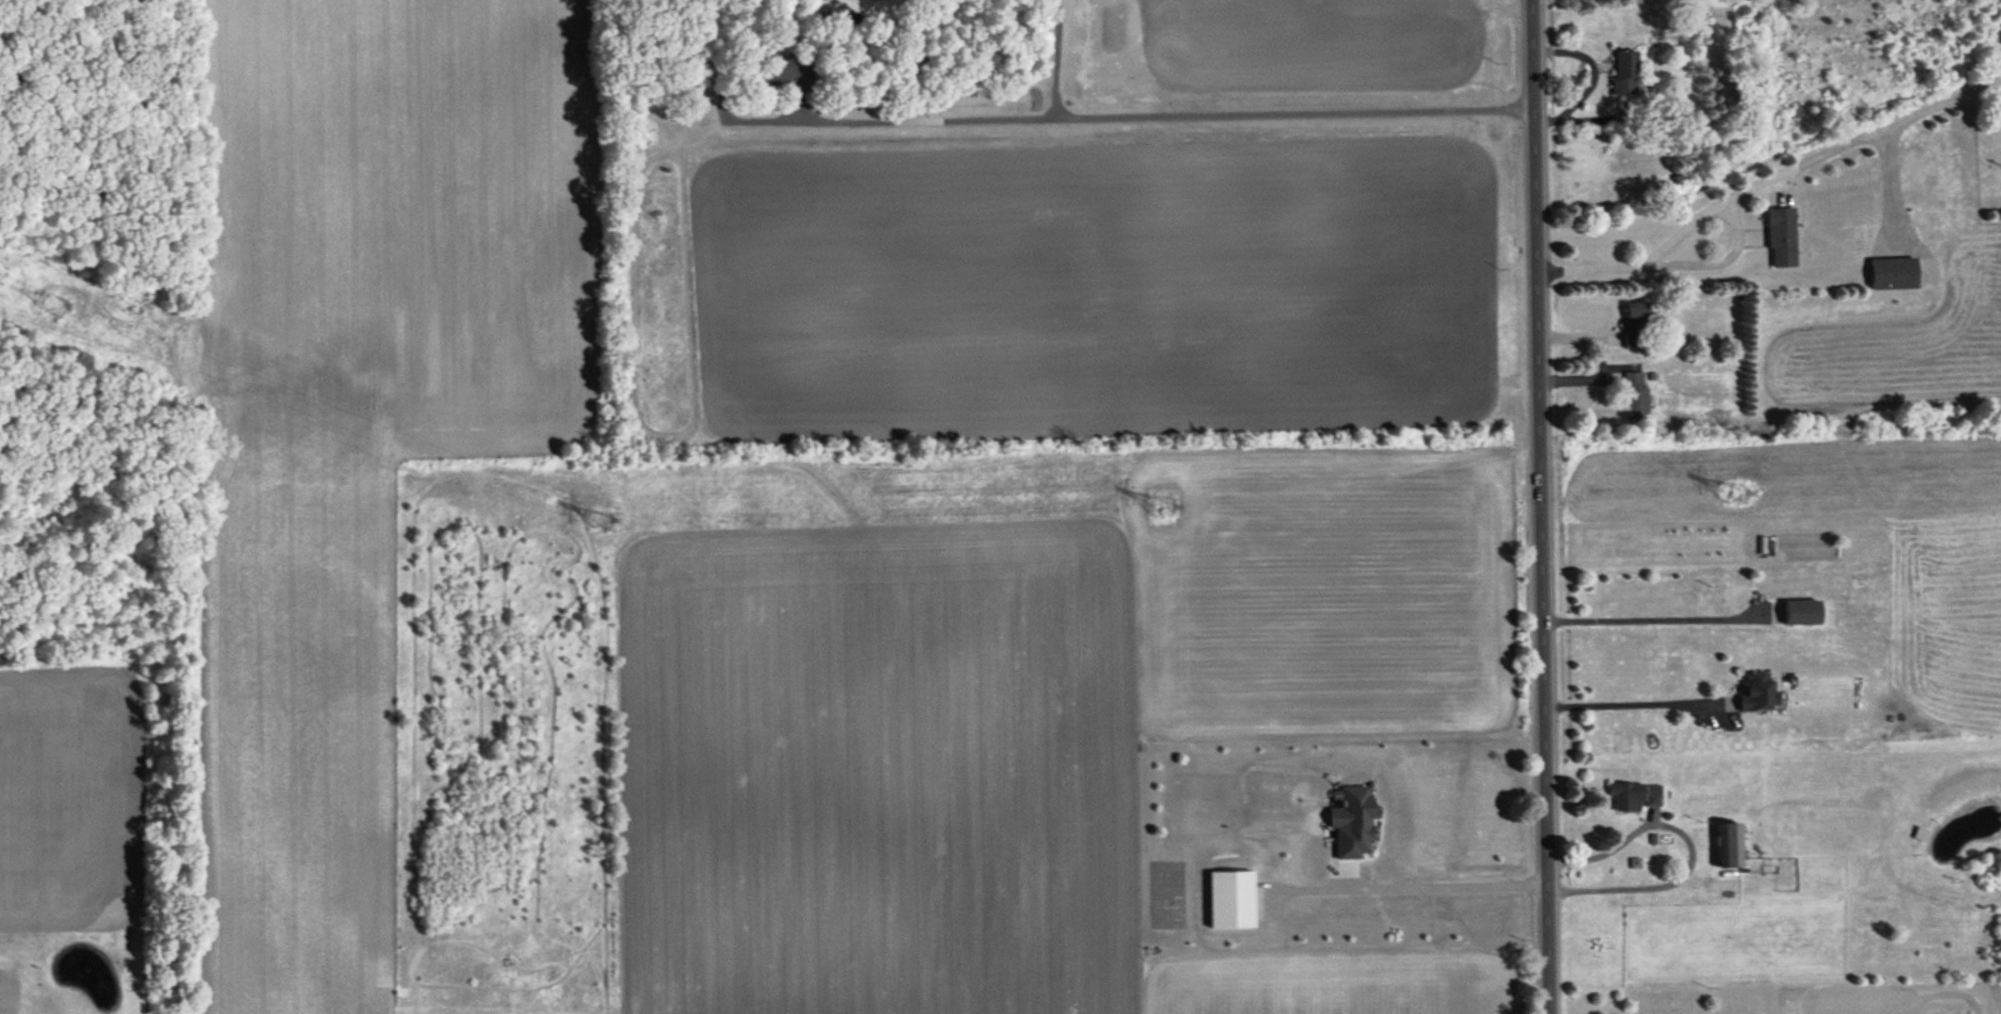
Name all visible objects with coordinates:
road: (1055, 59)
road: (914, 60)
building: (786, 71)
building: (1623, 73)
road: (1593, 79)
road: (1165, 117)
road: (1735, 191)
building: (1780, 236)
building: (1892, 273)
building: (1633, 324)
building: (1635, 396)
road: (1539, 507)
building: (1801, 612)
road: (1651, 619)
building: (1757, 691)
road: (1623, 704)
building: (1652, 795)
building: (1625, 796)
building: (1351, 822)
building: (1919, 834)
building: (1728, 845)
road: (1689, 850)
road: (1428, 888)
building: (1230, 899)

